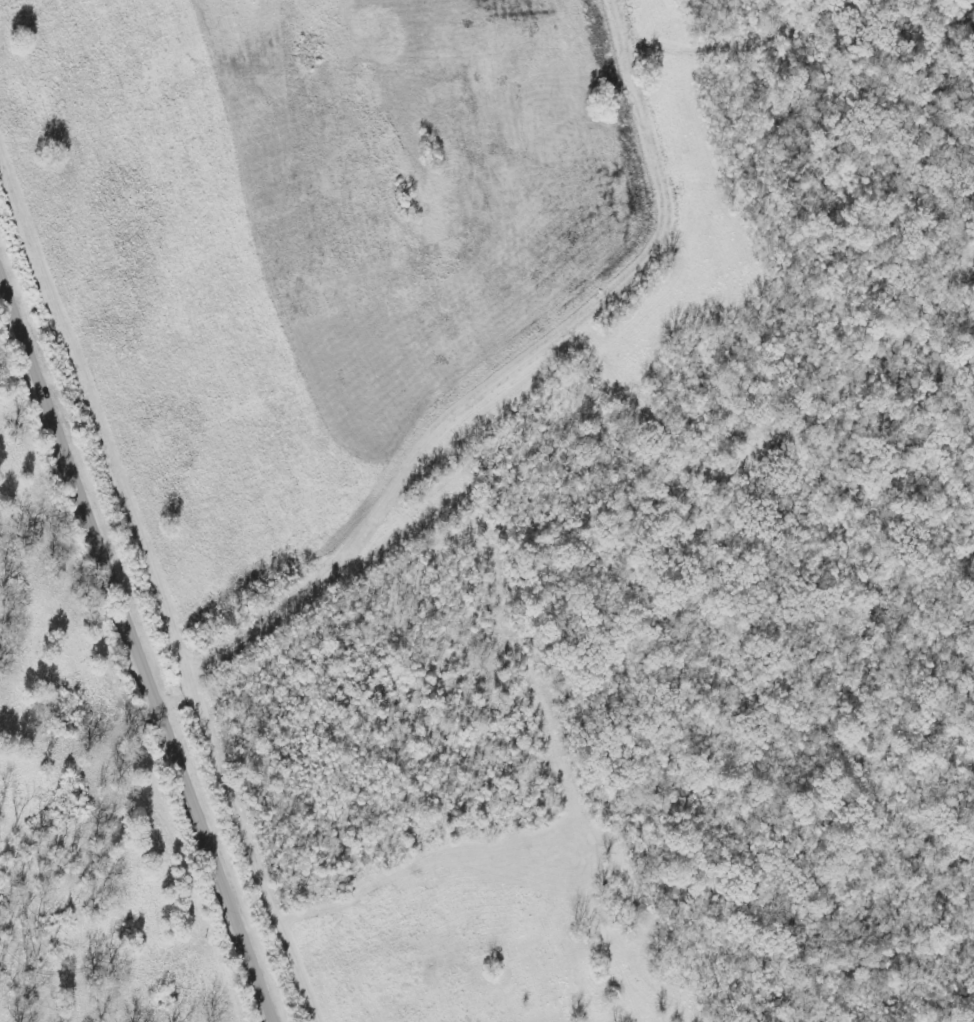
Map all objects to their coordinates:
road: (137, 651)

